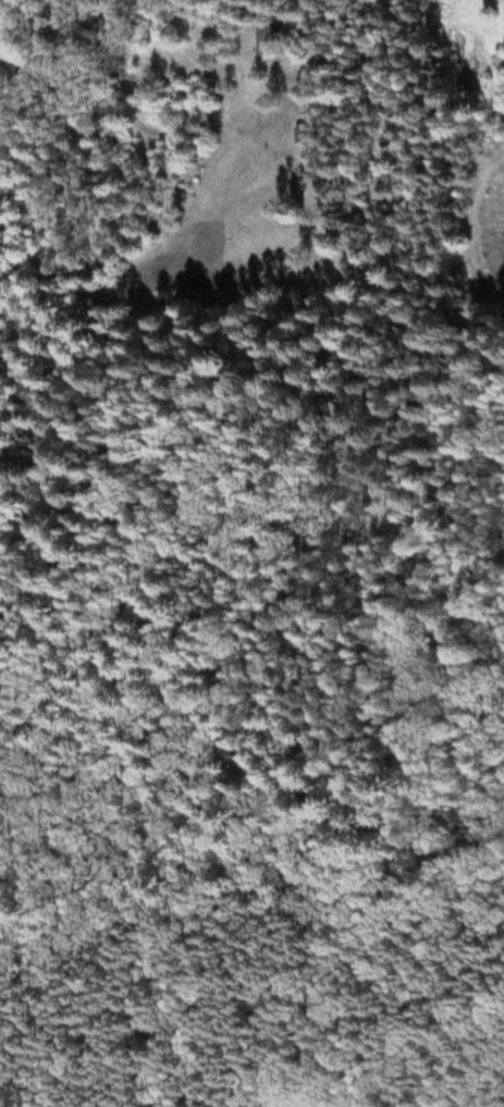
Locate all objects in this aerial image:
building: (274, 38)

